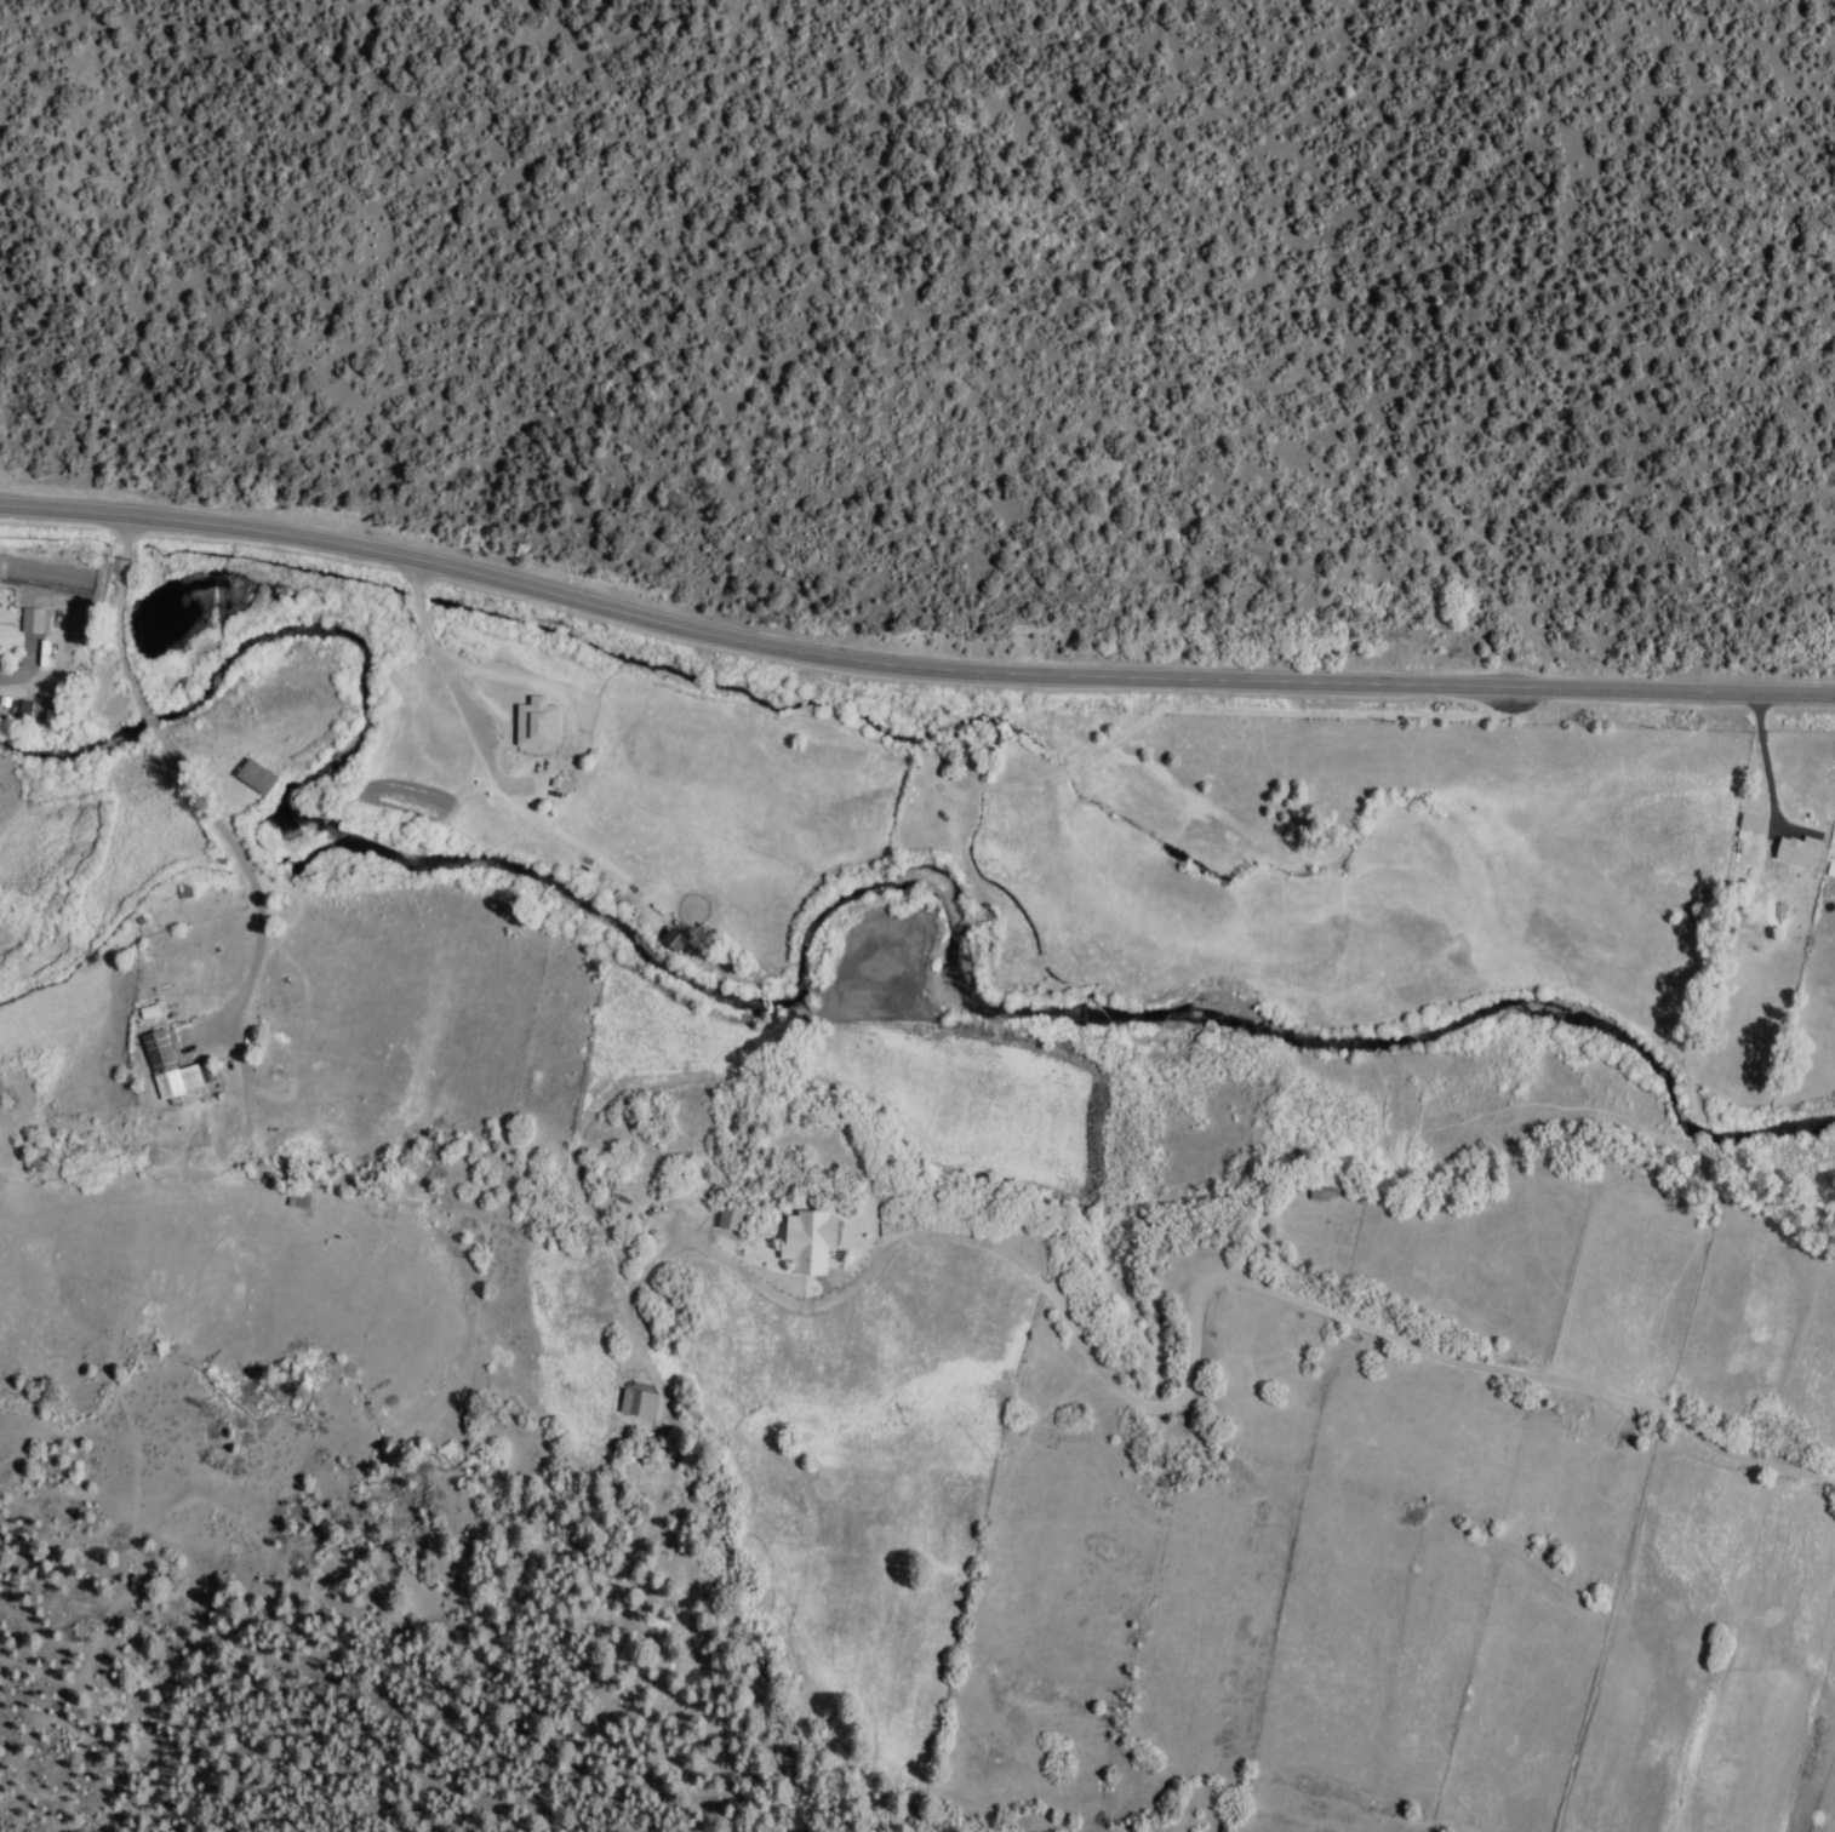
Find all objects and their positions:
building: (33, 619)
road: (909, 665)
building: (30, 709)
building: (536, 722)
building: (255, 777)
building: (1751, 821)
building: (1801, 851)
building: (1830, 869)
building: (673, 937)
river: (813, 948)
building: (168, 1066)
building: (728, 1216)
building: (807, 1240)
building: (639, 1402)
road: (1516, 1418)

